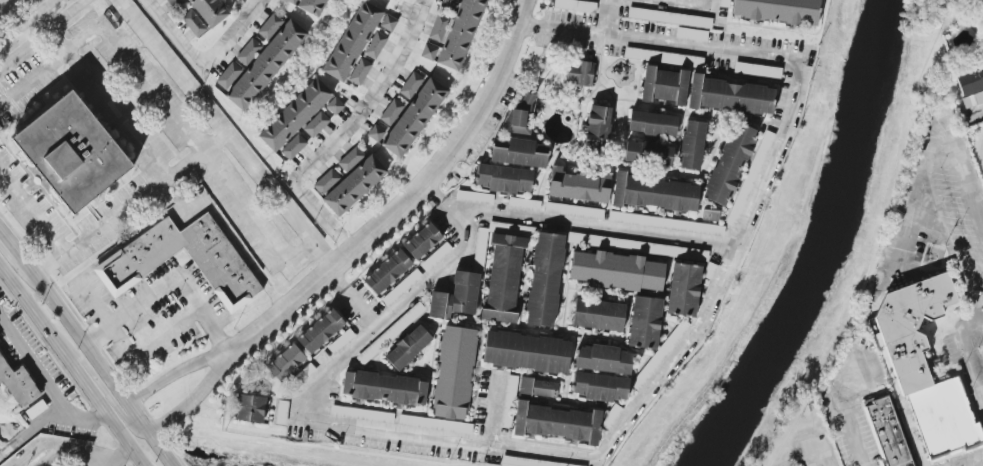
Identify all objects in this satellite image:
building: (691, 0)
building: (169, 1)
building: (291, 1)
road: (4, 3)
building: (725, 3)
building: (177, 4)
road: (671, 4)
building: (319, 5)
building: (575, 5)
building: (778, 10)
building: (217, 11)
building: (670, 17)
road: (606, 18)
road: (27, 20)
building: (194, 23)
building: (269, 26)
building: (438, 27)
building: (469, 33)
road: (42, 34)
building: (692, 34)
building: (359, 42)
building: (375, 45)
building: (429, 52)
building: (248, 54)
building: (658, 57)
road: (200, 66)
building: (274, 66)
building: (757, 70)
building: (360, 71)
building: (580, 73)
building: (228, 75)
building: (970, 84)
building: (410, 85)
building: (664, 85)
road: (101, 95)
building: (728, 95)
building: (335, 106)
road: (165, 107)
building: (391, 111)
road: (977, 114)
building: (519, 115)
building: (300, 116)
building: (422, 119)
building: (652, 123)
building: (316, 124)
building: (597, 130)
road: (344, 132)
road: (226, 133)
road: (934, 139)
building: (692, 145)
building: (294, 147)
building: (71, 151)
building: (519, 152)
building: (648, 154)
road: (982, 155)
building: (350, 158)
building: (729, 165)
building: (503, 178)
building: (750, 178)
building: (327, 182)
building: (361, 185)
building: (579, 186)
building: (653, 193)
building: (474, 197)
road: (407, 201)
building: (524, 204)
road: (130, 205)
building: (574, 210)
road: (32, 216)
building: (666, 223)
road: (594, 226)
building: (422, 241)
building: (481, 243)
road: (10, 245)
building: (638, 246)
road: (122, 249)
building: (436, 257)
building: (137, 260)
road: (16, 266)
building: (387, 271)
building: (616, 271)
building: (503, 278)
building: (545, 279)
road: (168, 283)
building: (401, 288)
building: (684, 289)
building: (456, 296)
road: (360, 312)
building: (598, 314)
road: (33, 316)
building: (645, 323)
building: (320, 332)
building: (390, 333)
building: (341, 341)
building: (408, 347)
building: (527, 352)
building: (658, 357)
road: (966, 358)
building: (604, 359)
road: (95, 362)
building: (285, 363)
road: (35, 366)
building: (925, 366)
building: (307, 371)
building: (454, 372)
road: (171, 374)
building: (511, 384)
building: (600, 386)
road: (102, 388)
building: (384, 388)
building: (537, 388)
building: (22, 389)
road: (86, 389)
road: (981, 395)
road: (191, 399)
building: (249, 408)
road: (838, 408)
road: (490, 411)
building: (282, 412)
road: (633, 412)
building: (362, 414)
road: (46, 417)
building: (611, 417)
building: (557, 422)
building: (435, 424)
building: (887, 432)
road: (124, 440)
road: (82, 454)
road: (54, 457)
road: (118, 457)
building: (527, 462)

